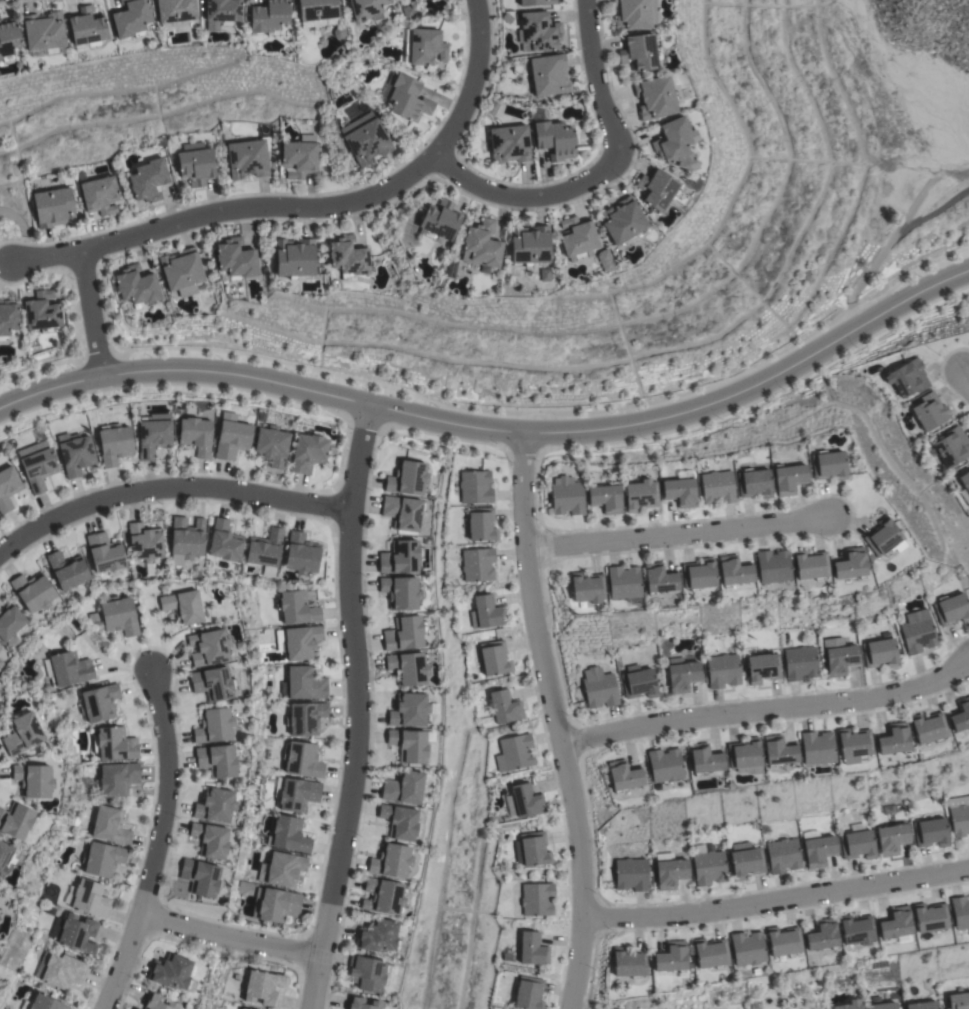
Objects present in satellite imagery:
building: (410, 0)
building: (535, 2)
building: (367, 9)
building: (175, 11)
building: (223, 11)
building: (409, 12)
building: (318, 14)
building: (634, 14)
building: (270, 17)
building: (131, 19)
building: (86, 29)
building: (539, 31)
building: (44, 34)
building: (8, 39)
building: (424, 46)
building: (639, 52)
building: (0, 59)
building: (548, 75)
building: (405, 97)
building: (654, 97)
building: (491, 108)
building: (552, 137)
building: (365, 139)
building: (672, 140)
building: (509, 144)
building: (299, 157)
building: (247, 159)
building: (196, 164)
road: (596, 173)
building: (148, 180)
building: (656, 189)
building: (100, 195)
road: (306, 207)
building: (54, 208)
building: (622, 220)
building: (439, 221)
road: (22, 230)
building: (577, 238)
building: (481, 245)
building: (529, 245)
building: (348, 257)
building: (294, 258)
building: (605, 260)
building: (234, 261)
building: (181, 269)
building: (449, 269)
building: (544, 274)
building: (136, 286)
building: (41, 312)
road: (88, 313)
building: (8, 319)
building: (908, 378)
road: (966, 383)
building: (930, 411)
road: (496, 430)
building: (154, 434)
building: (196, 435)
building: (232, 437)
building: (114, 444)
building: (271, 446)
building: (952, 447)
building: (308, 452)
building: (76, 455)
street lamp: (508, 462)
building: (827, 465)
building: (38, 469)
building: (407, 478)
building: (788, 478)
building: (752, 483)
building: (965, 486)
building: (475, 487)
building: (716, 487)
building: (8, 488)
road: (168, 488)
building: (680, 491)
building: (640, 495)
building: (566, 496)
building: (605, 498)
building: (403, 512)
street lamp: (534, 520)
building: (481, 524)
road: (673, 536)
building: (882, 538)
building: (186, 540)
building: (225, 542)
building: (145, 545)
building: (265, 551)
building: (105, 552)
building: (301, 554)
building: (401, 557)
building: (478, 564)
building: (848, 564)
building: (809, 565)
building: (771, 566)
building: (67, 570)
building: (733, 570)
building: (698, 574)
building: (659, 578)
building: (623, 582)
building: (587, 588)
building: (33, 592)
building: (401, 592)
building: (183, 607)
building: (296, 608)
building: (951, 609)
building: (488, 611)
building: (119, 616)
building: (10, 624)
building: (917, 632)
building: (406, 634)
building: (300, 643)
building: (0, 647)
building: (209, 648)
building: (879, 653)
building: (494, 658)
building: (840, 659)
building: (800, 663)
building: (68, 668)
building: (408, 668)
building: (763, 668)
building: (723, 670)
building: (682, 674)
building: (638, 682)
building: (213, 684)
building: (303, 684)
building: (599, 688)
building: (99, 703)
building: (504, 706)
road: (355, 708)
building: (410, 710)
road: (770, 712)
building: (960, 715)
building: (305, 718)
road: (558, 720)
building: (214, 726)
building: (929, 728)
building: (22, 734)
building: (894, 739)
building: (854, 743)
building: (114, 744)
building: (408, 745)
building: (817, 748)
building: (778, 751)
building: (514, 752)
building: (744, 756)
building: (705, 758)
building: (217, 760)
building: (302, 760)
building: (664, 765)
building: (624, 775)
building: (33, 780)
building: (113, 780)
building: (403, 787)
building: (296, 793)
building: (523, 801)
building: (215, 806)
building: (959, 815)
building: (399, 821)
building: (17, 822)
building: (110, 826)
building: (931, 832)
building: (290, 835)
building: (892, 838)
building: (210, 840)
road: (156, 841)
building: (857, 842)
building: (531, 849)
building: (819, 851)
building: (783, 855)
building: (6, 858)
building: (102, 859)
building: (746, 860)
building: (390, 861)
building: (709, 868)
building: (284, 869)
building: (670, 870)
building: (631, 874)
building: (200, 877)
building: (383, 896)
building: (88, 899)
building: (537, 899)
road: (778, 901)
building: (275, 905)
street lamp: (166, 910)
building: (960, 913)
building: (931, 918)
building: (896, 925)
building: (857, 930)
building: (76, 934)
building: (822, 935)
building: (377, 936)
road: (227, 939)
building: (784, 941)
building: (747, 948)
building: (532, 949)
street lamp: (213, 951)
building: (711, 953)
building: (671, 958)
street lamp: (288, 963)
building: (629, 963)
building: (59, 970)
building: (171, 972)
building: (369, 973)
street lamp: (131, 978)
building: (263, 987)
building: (528, 993)
building: (958, 1001)
building: (157, 1002)
building: (43, 1003)
building: (361, 1003)
building: (850, 1005)
building: (923, 1005)
building: (885, 1006)
building: (134, 1008)
building: (243, 1008)

